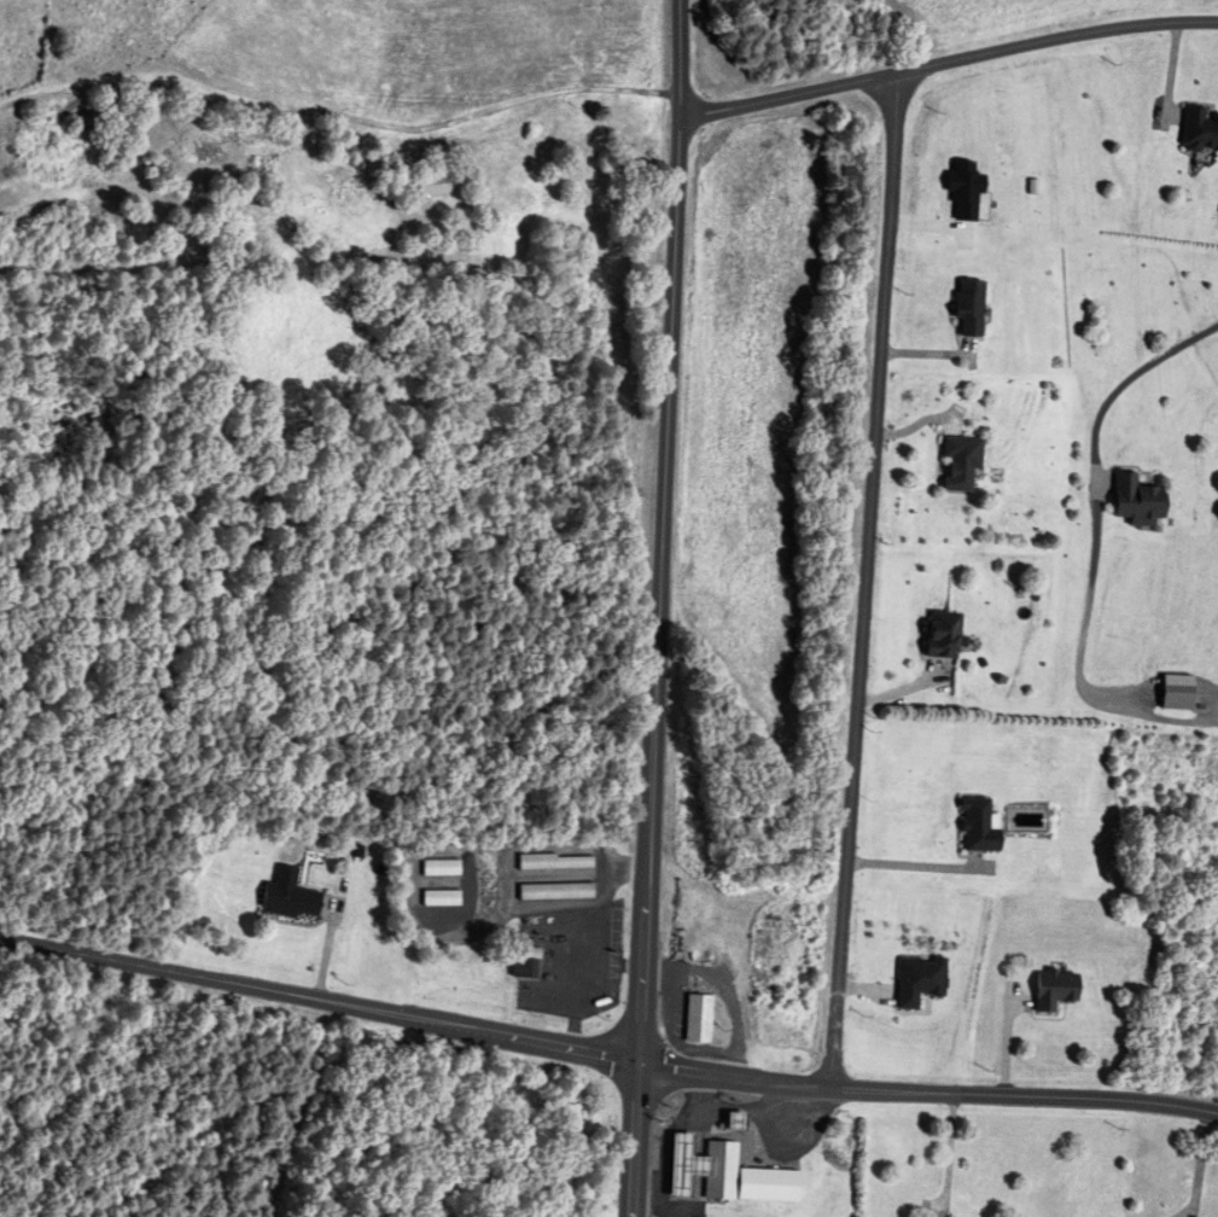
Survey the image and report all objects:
road: (949, 68)
building: (1196, 132)
building: (438, 185)
building: (965, 308)
building: (963, 461)
road: (1101, 493)
road: (863, 588)
road: (658, 608)
building: (945, 634)
building: (972, 826)
building: (556, 861)
building: (442, 867)
road: (468, 874)
road: (576, 875)
road: (441, 880)
building: (556, 892)
building: (291, 896)
road: (561, 904)
road: (505, 908)
building: (528, 967)
building: (915, 979)
building: (1050, 990)
road: (319, 1006)
building: (700, 1018)
traffic signals: (637, 1067)
road: (926, 1104)
road: (748, 1113)
building: (738, 1120)
road: (946, 1161)
road: (1199, 1164)
building: (681, 1165)
road: (694, 1171)
road: (664, 1176)
building: (744, 1176)
road: (677, 1209)
road: (1183, 1212)
road: (1193, 1212)

